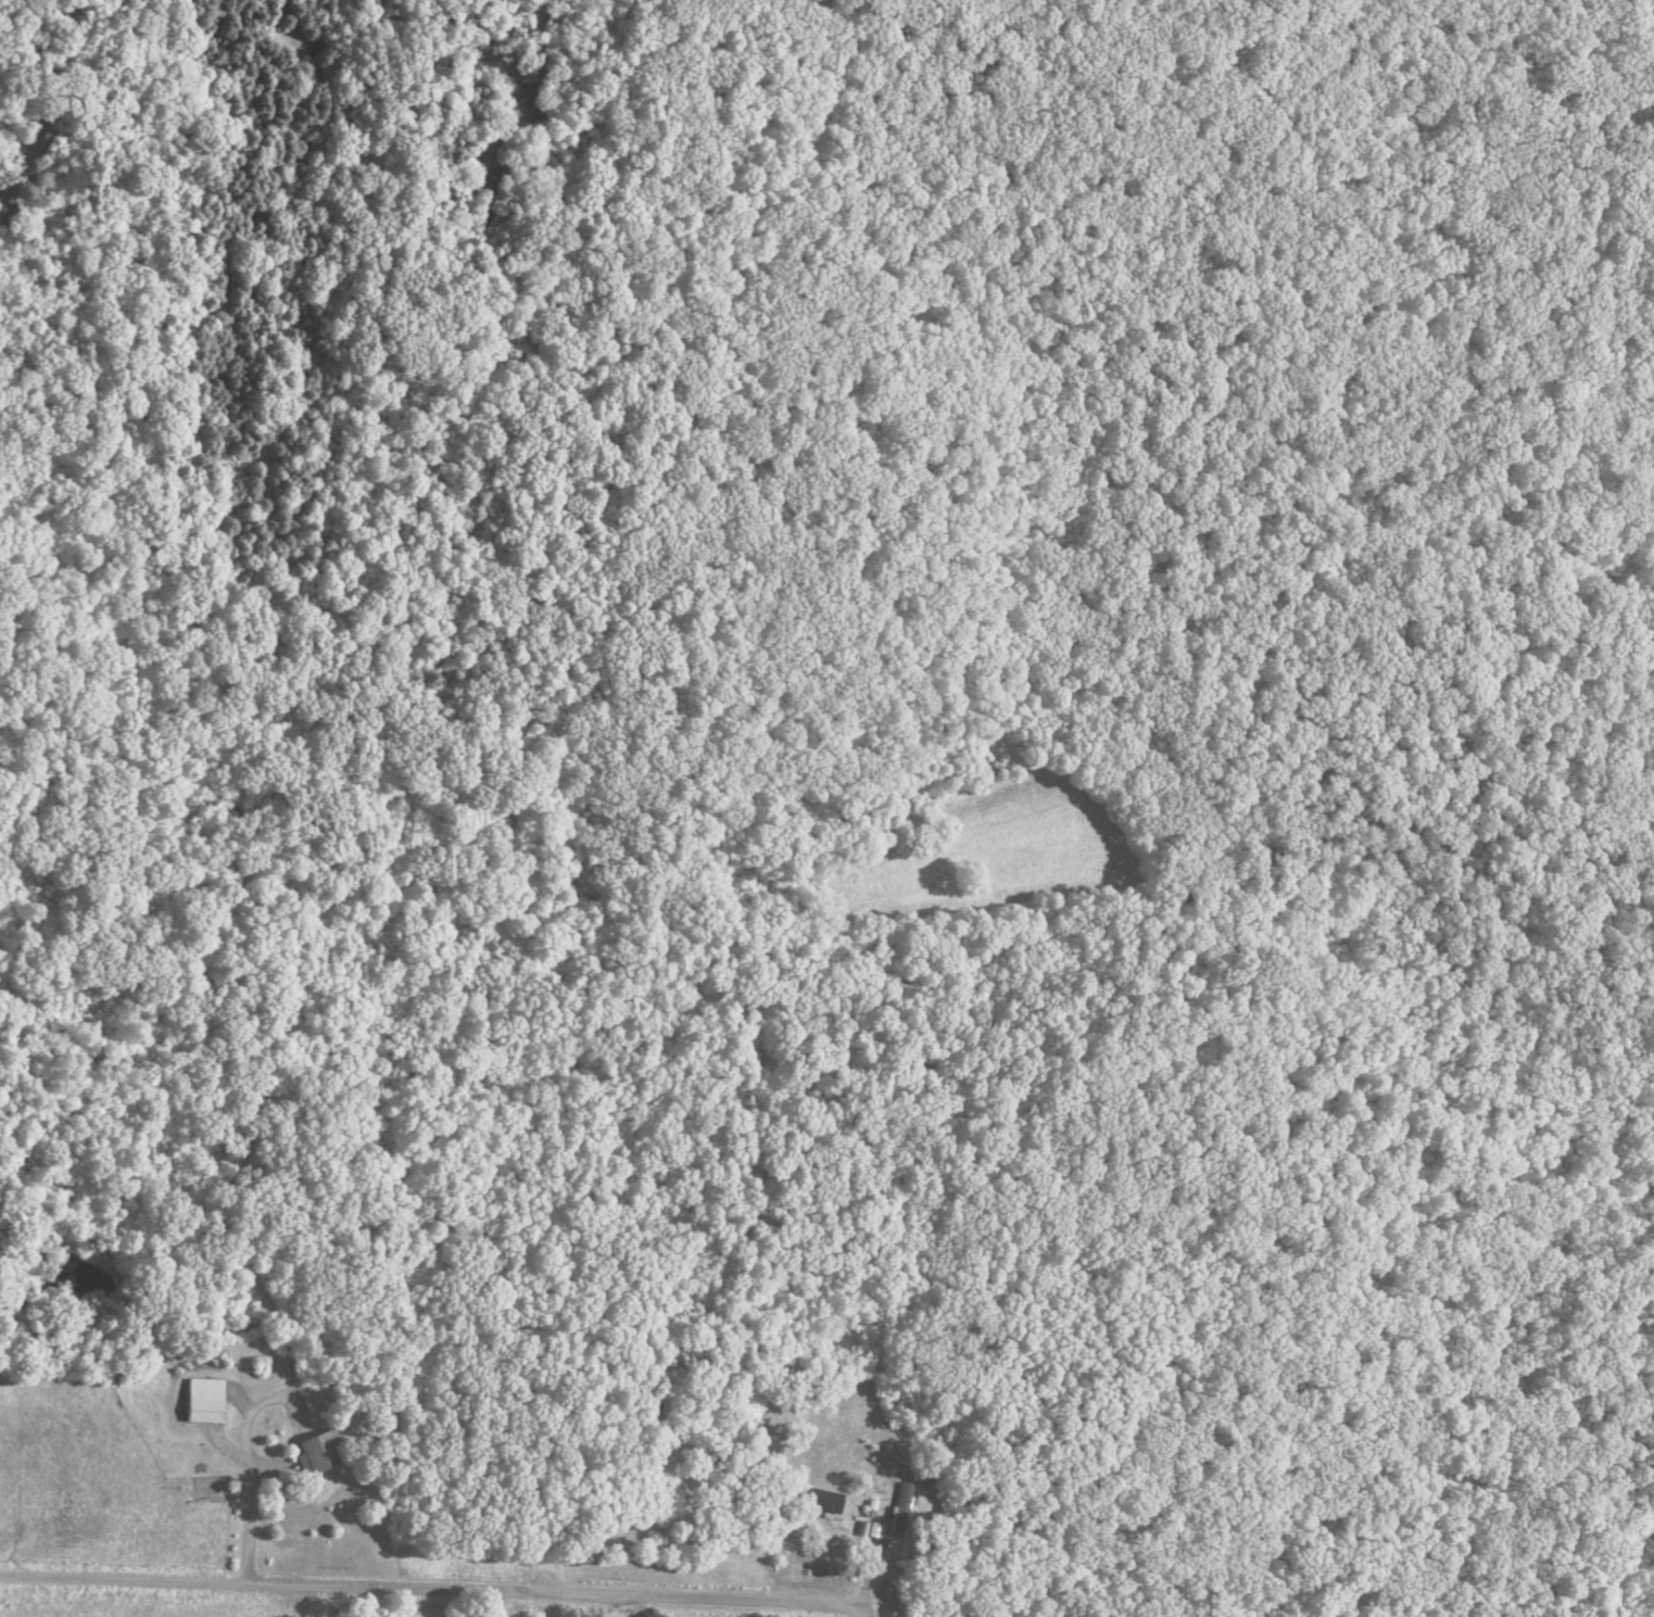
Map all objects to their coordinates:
building: (205, 1400)
building: (319, 1452)
building: (823, 1500)
road: (437, 1589)
road: (643, 1607)

